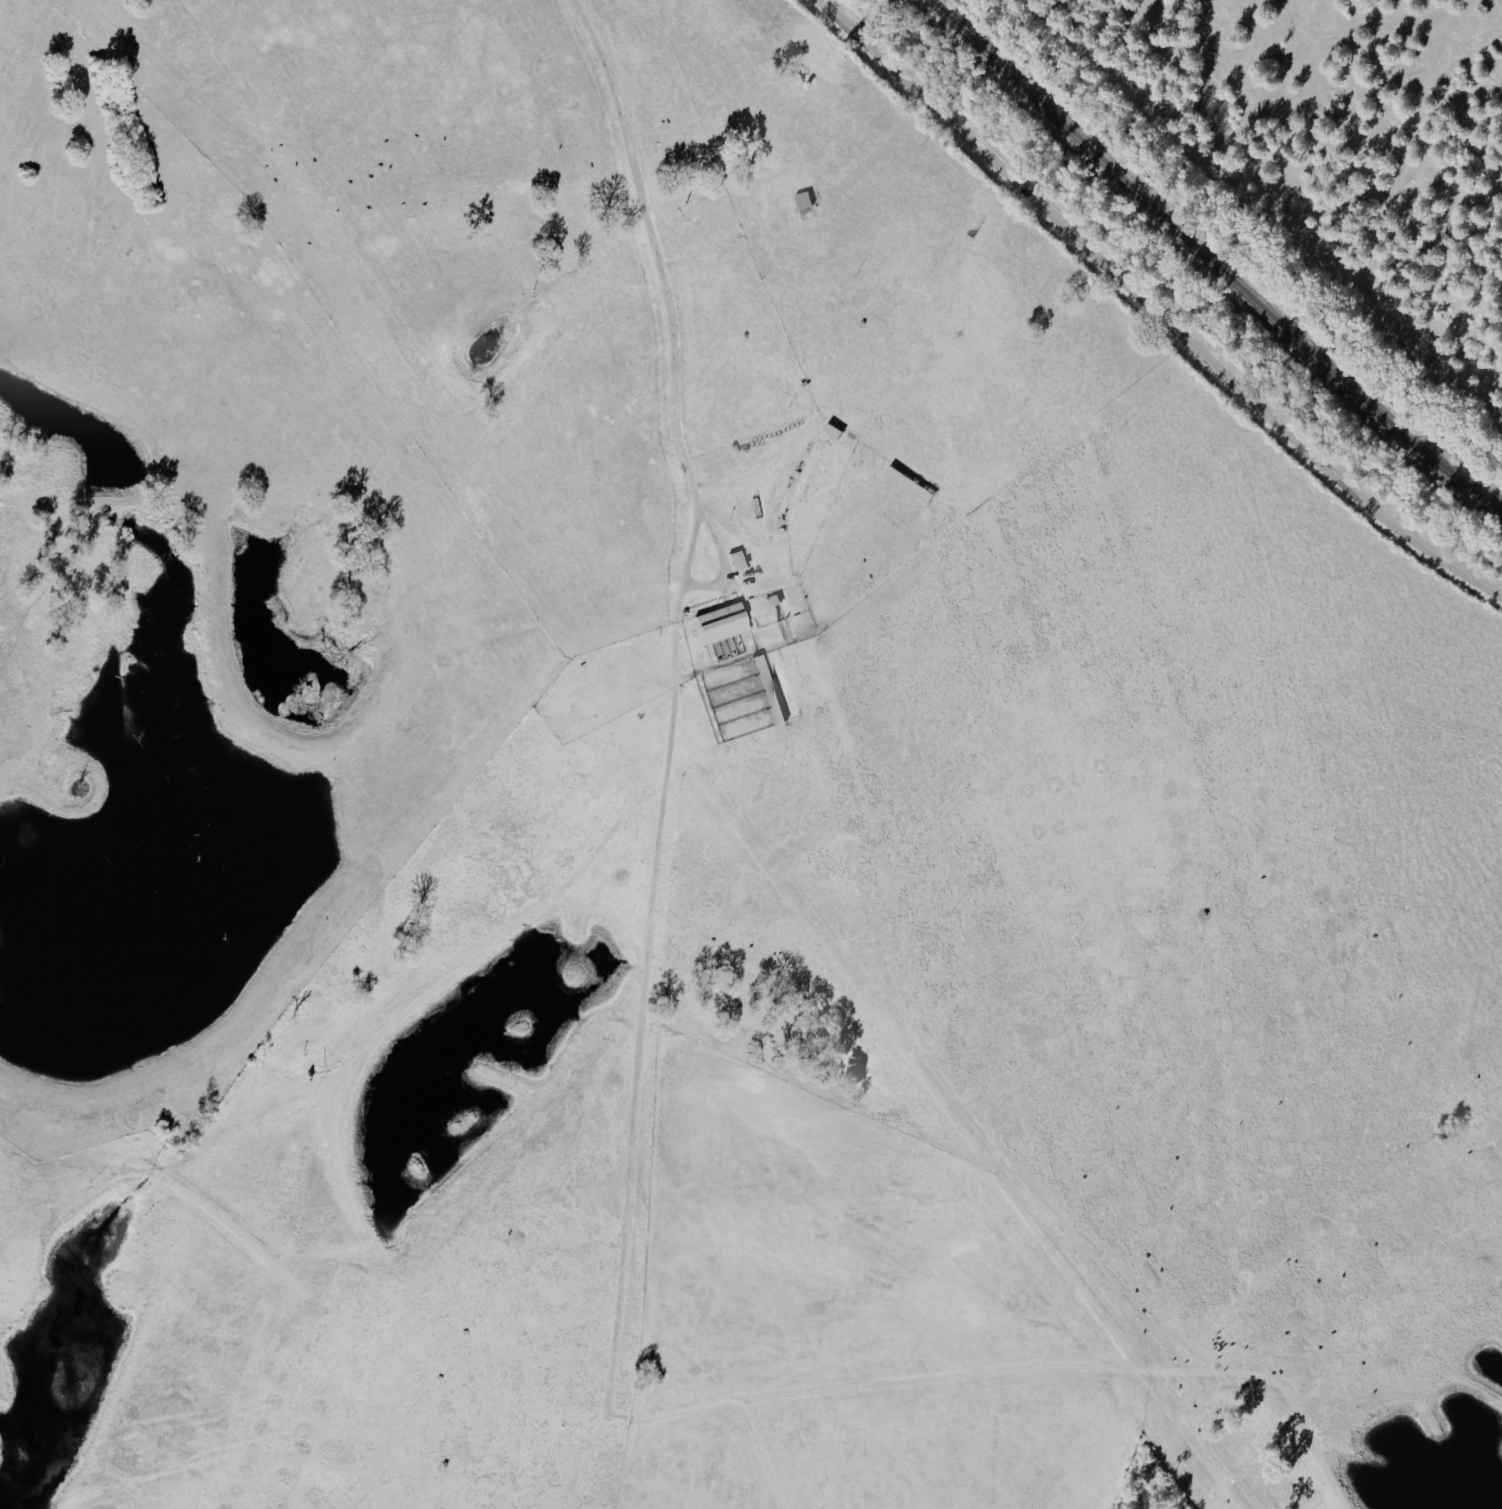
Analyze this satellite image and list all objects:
building: (805, 200)
building: (815, 211)
road: (654, 252)
railway: (1206, 263)
road: (1153, 307)
building: (836, 432)
building: (741, 561)
road: (703, 584)
building: (727, 623)
road: (637, 1120)

